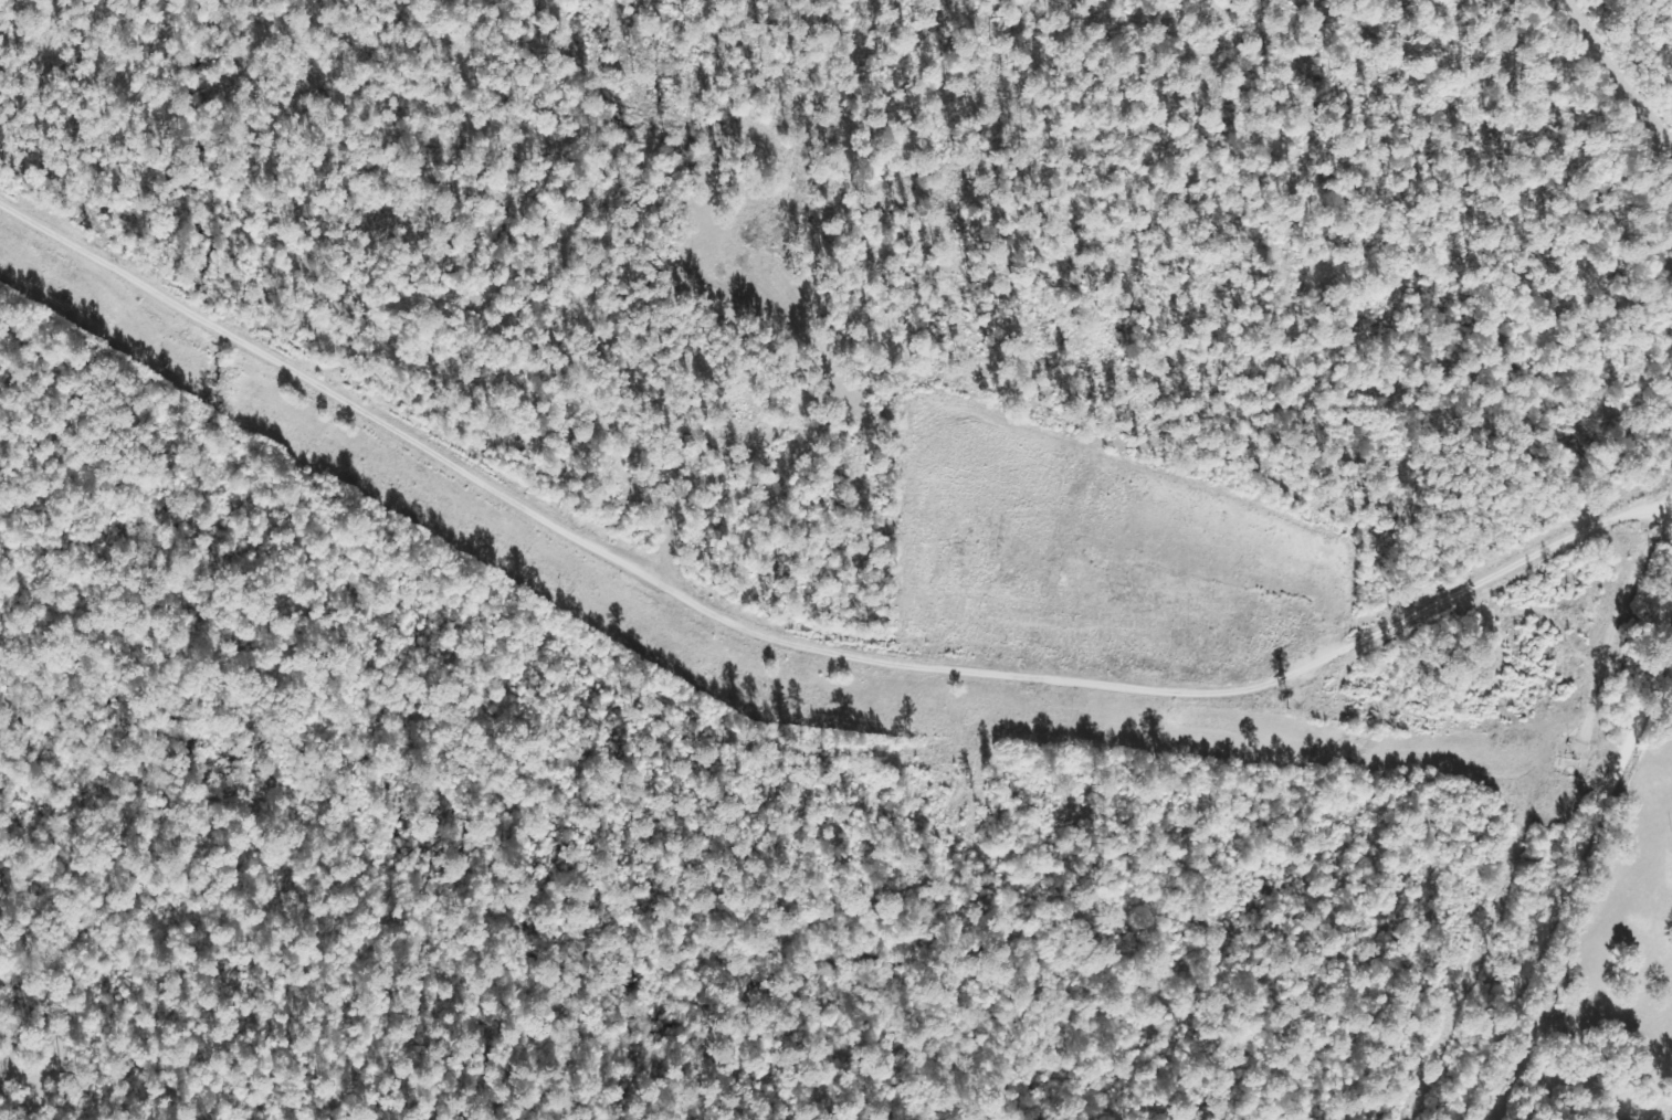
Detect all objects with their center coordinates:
road: (1608, 93)
road: (1549, 767)

